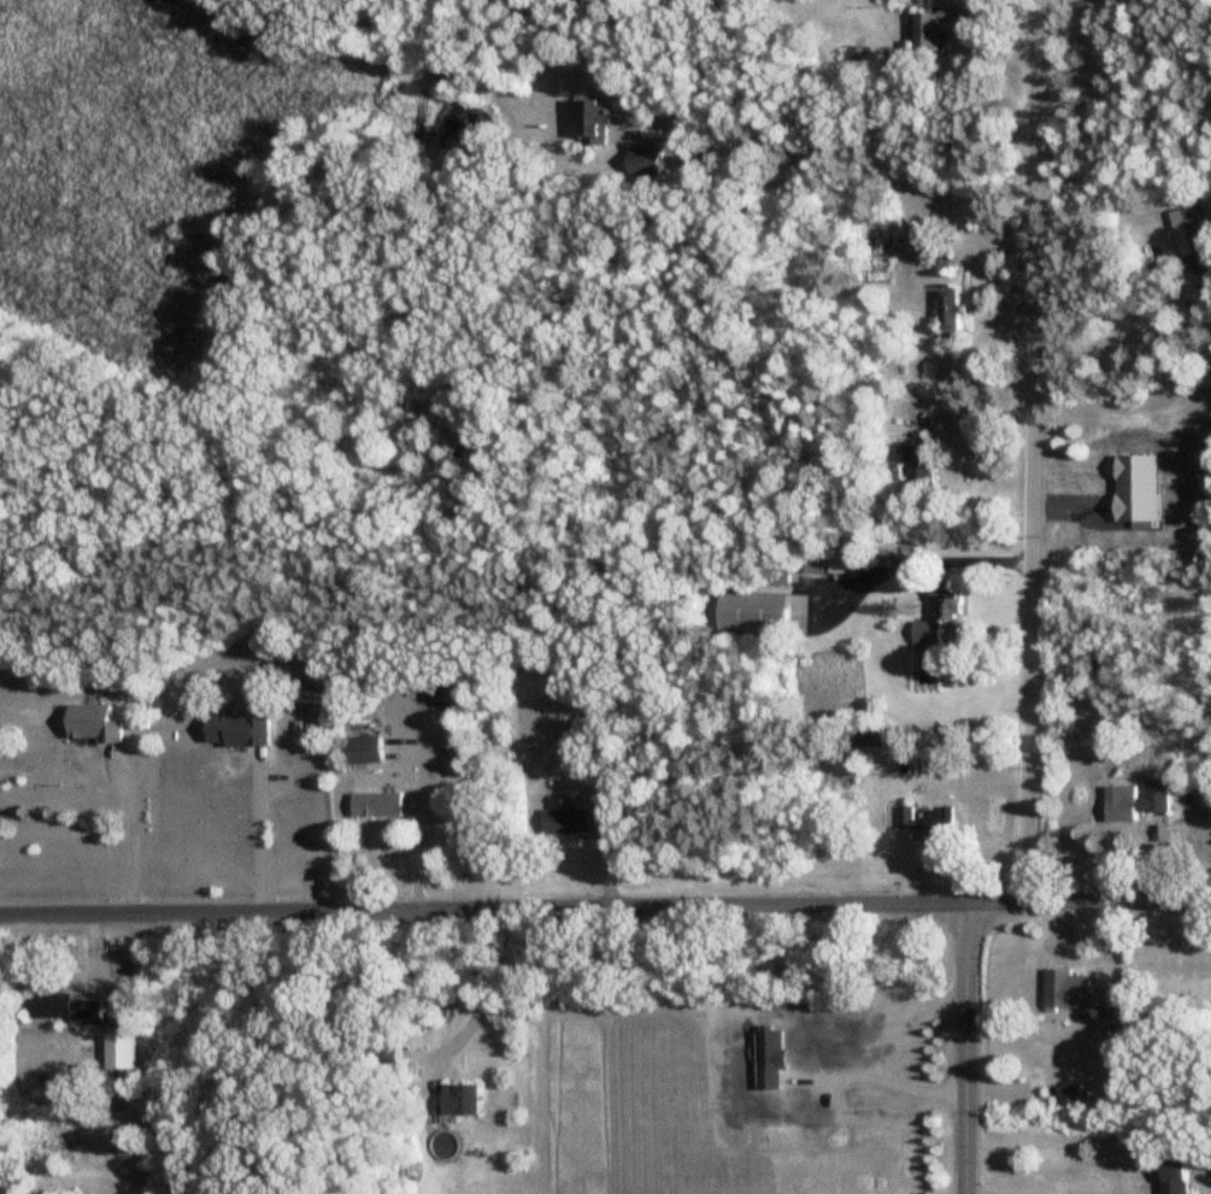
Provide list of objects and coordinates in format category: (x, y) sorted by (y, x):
building: (935, 29)
building: (598, 124)
road: (829, 131)
building: (648, 164)
building: (1187, 233)
building: (948, 311)
road: (1109, 322)
road: (1035, 451)
building: (917, 466)
building: (1140, 467)
road: (922, 561)
building: (830, 564)
building: (771, 578)
building: (937, 612)
building: (754, 614)
building: (870, 737)
building: (272, 740)
building: (364, 752)
building: (1135, 804)
building: (377, 806)
building: (586, 820)
building: (927, 823)
road: (129, 836)
road: (257, 837)
road: (418, 842)
road: (605, 907)
road: (481, 989)
building: (1074, 993)
building: (64, 1008)
road: (965, 1048)
building: (371, 1055)
building: (1068, 1096)
building: (459, 1099)
building: (1174, 1177)

